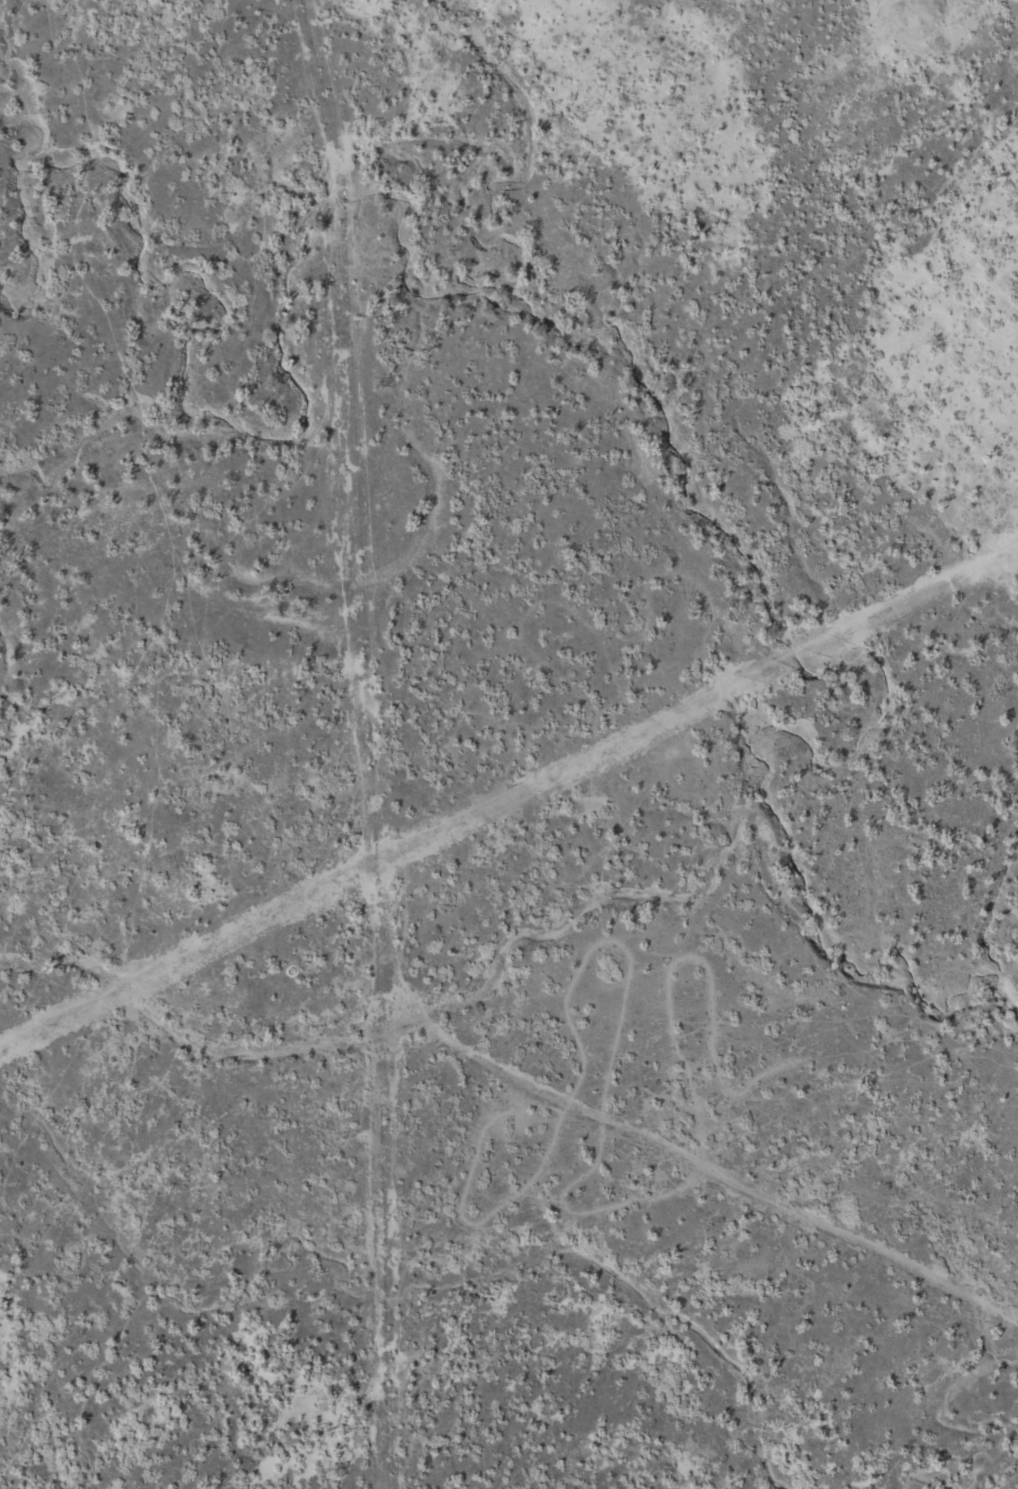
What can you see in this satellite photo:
road: (554, 758)
road: (522, 1067)

